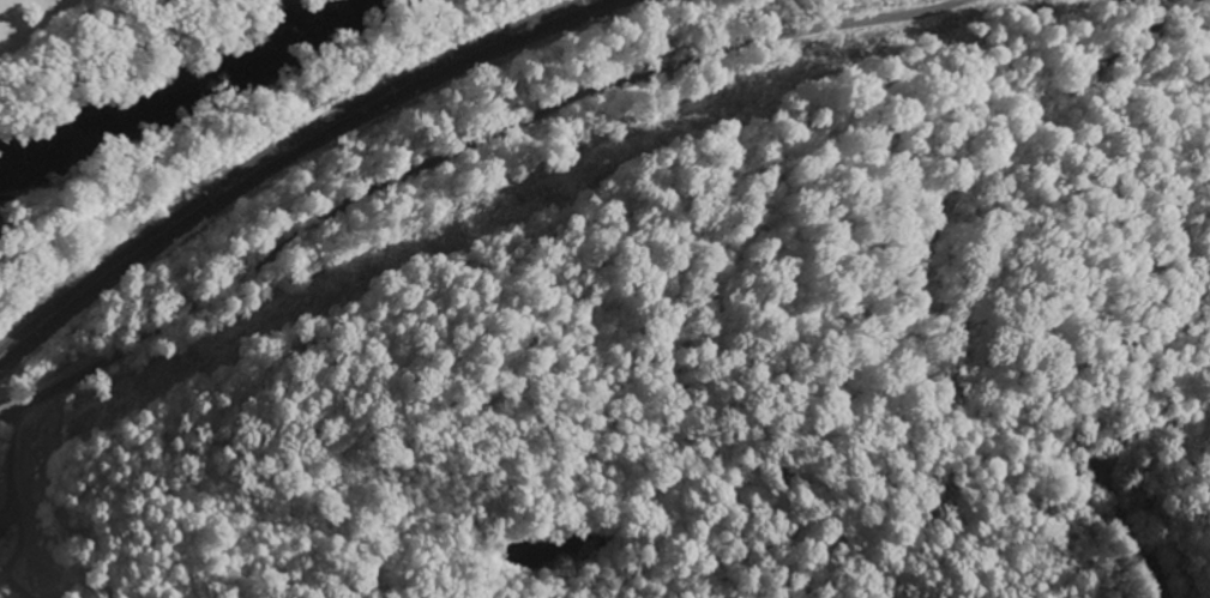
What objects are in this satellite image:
river: (163, 81)
road: (453, 133)
railway: (282, 151)
railway: (302, 164)

